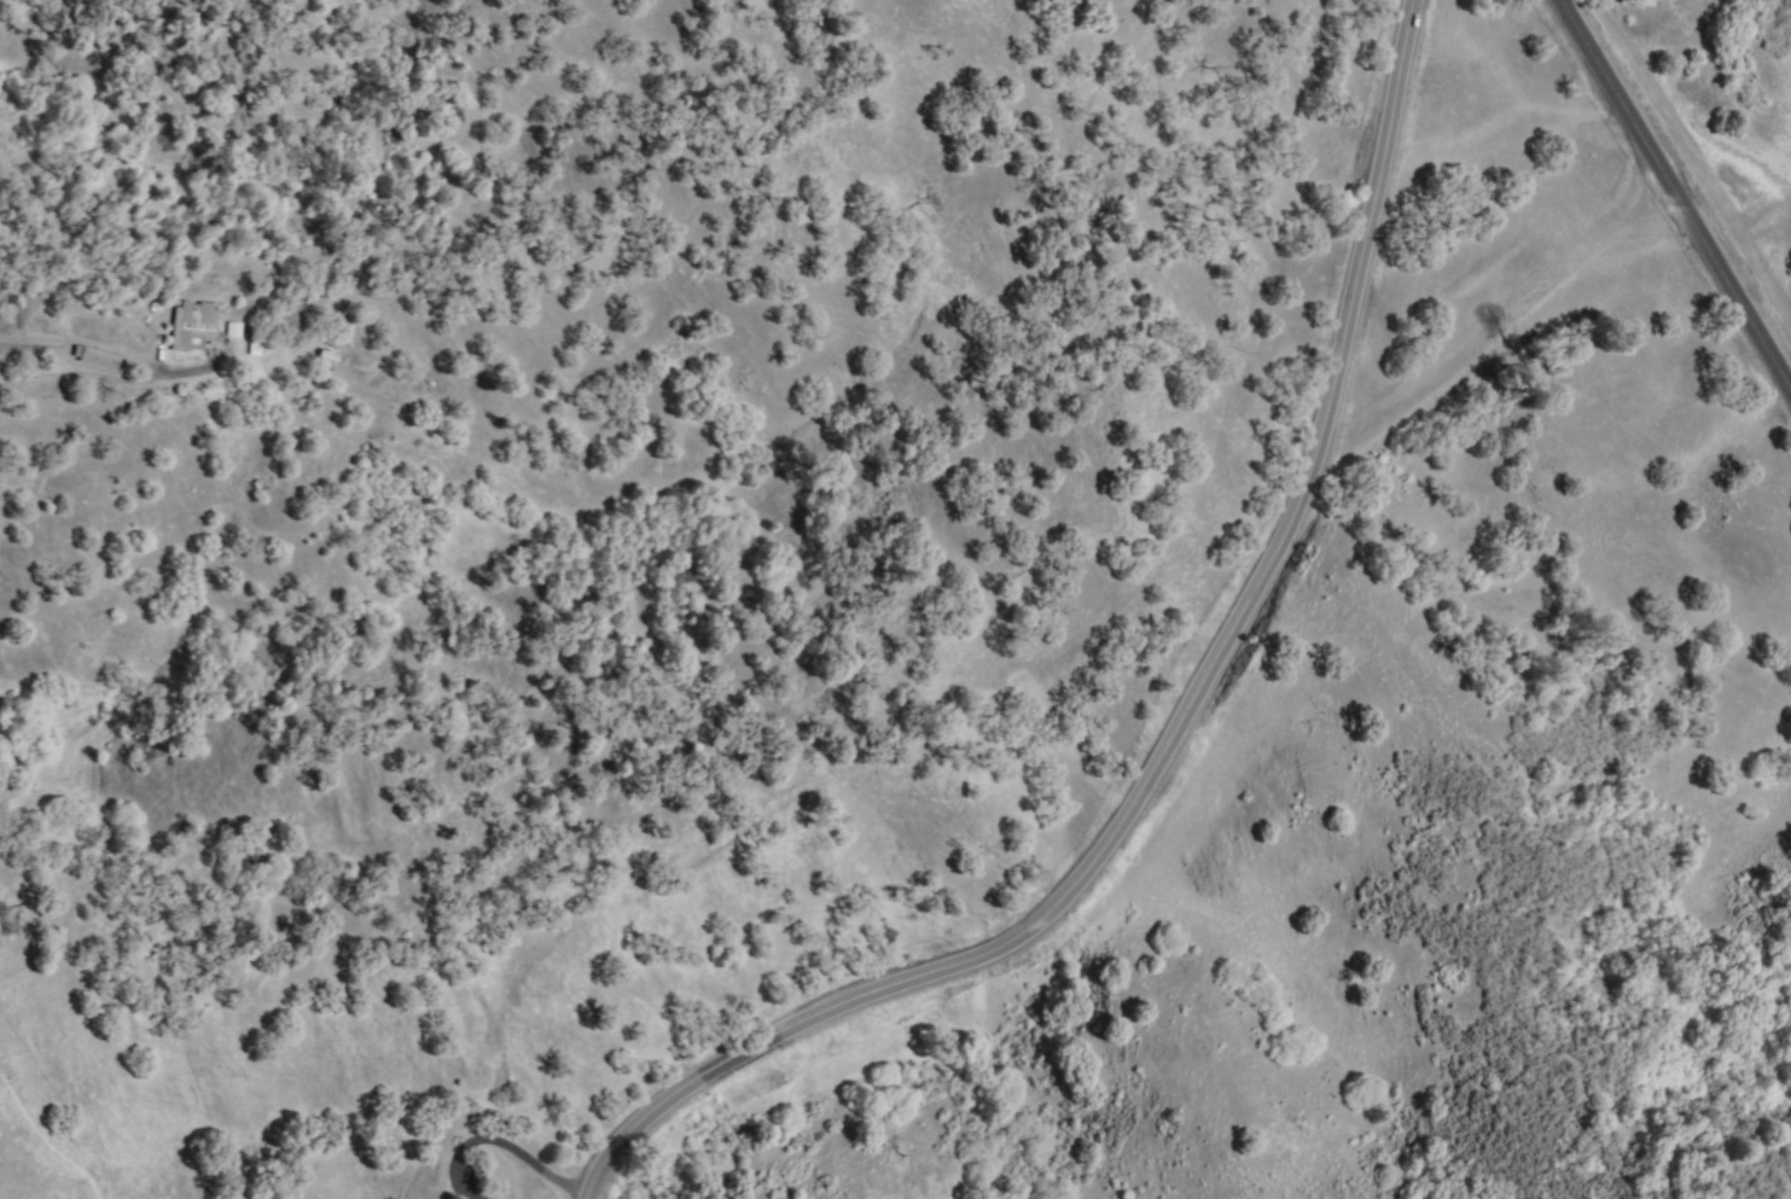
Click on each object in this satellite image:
road: (1679, 197)
building: (296, 315)
building: (199, 326)
building: (237, 330)
building: (103, 357)
road: (117, 379)
road: (1176, 734)
crop: (48, 1081)
road: (506, 1149)

